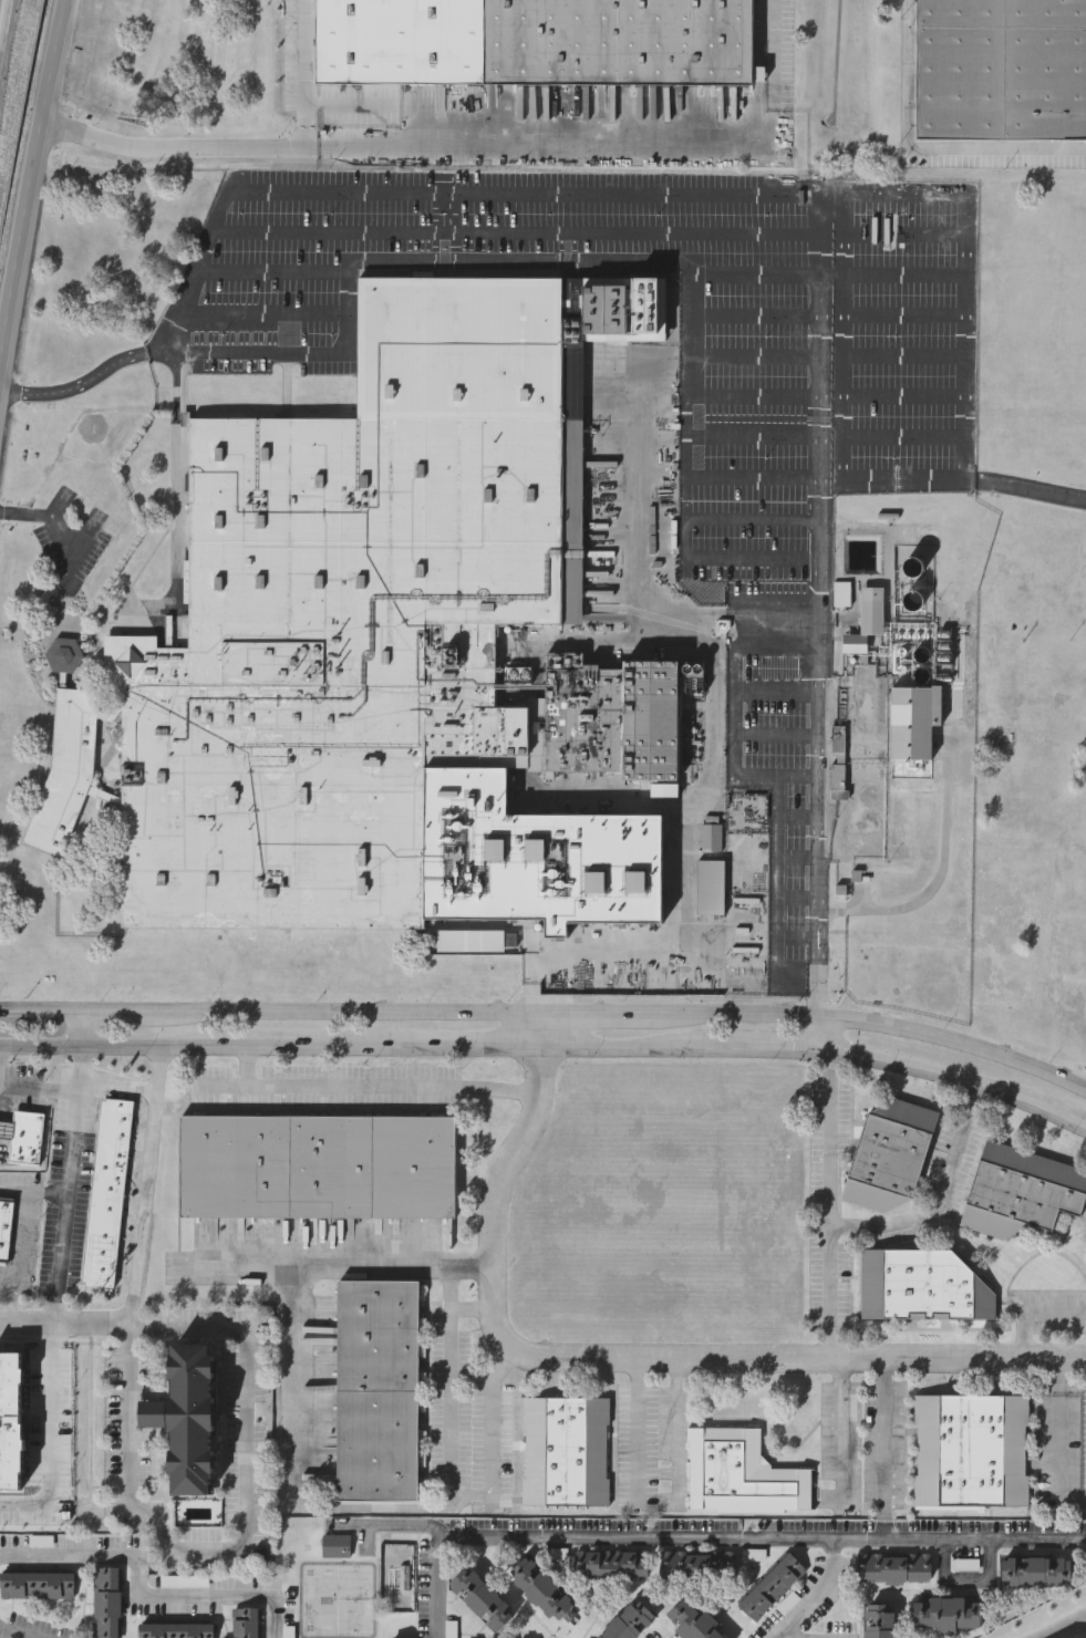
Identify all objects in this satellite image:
building: (531, 41)
road: (308, 61)
building: (1000, 68)
road: (907, 74)
road: (308, 127)
road: (260, 133)
road: (694, 144)
road: (1000, 148)
road: (31, 178)
road: (842, 208)
road: (508, 231)
road: (602, 262)
road: (270, 270)
road: (190, 271)
road: (831, 272)
road: (754, 277)
road: (258, 313)
road: (819, 326)
road: (76, 384)
road: (1026, 489)
road: (635, 581)
building: (867, 623)
building: (393, 644)
building: (913, 732)
building: (66, 758)
building: (713, 840)
road: (686, 868)
road: (938, 878)
building: (711, 891)
building: (469, 942)
road: (339, 1013)
road: (597, 1013)
road: (42, 1014)
road: (111, 1014)
road: (875, 1024)
road: (84, 1029)
road: (541, 1030)
road: (820, 1031)
road: (108, 1046)
road: (380, 1047)
road: (623, 1048)
road: (762, 1048)
road: (931, 1072)
road: (374, 1087)
road: (141, 1088)
road: (40, 1091)
road: (1063, 1117)
building: (24, 1138)
road: (73, 1153)
building: (888, 1158)
building: (316, 1169)
building: (1021, 1193)
building: (108, 1194)
road: (943, 1199)
road: (832, 1205)
building: (6, 1230)
road: (20, 1245)
road: (64, 1259)
road: (247, 1272)
road: (137, 1273)
building: (922, 1288)
road: (470, 1307)
road: (1036, 1317)
road: (1, 1321)
road: (1, 1323)
road: (637, 1362)
building: (376, 1392)
road: (493, 1421)
building: (189, 1422)
building: (11, 1423)
road: (844, 1430)
road: (679, 1431)
road: (1058, 1431)
road: (637, 1432)
road: (883, 1432)
road: (50, 1443)
building: (970, 1452)
building: (566, 1454)
building: (741, 1476)
road: (291, 1486)
road: (472, 1494)
road: (242, 1537)
road: (711, 1538)
building: (613, 1566)
building: (700, 1566)
building: (894, 1569)
building: (1034, 1574)
road: (963, 1578)
building: (38, 1587)
building: (773, 1588)
building: (541, 1593)
road: (815, 1594)
road: (141, 1595)
building: (107, 1603)
building: (487, 1604)
building: (947, 1616)
road: (1082, 1618)
building: (692, 1621)
building: (879, 1621)
building: (629, 1623)
building: (247, 1624)
road: (1063, 1626)
building: (177, 1631)
road: (11, 1635)

